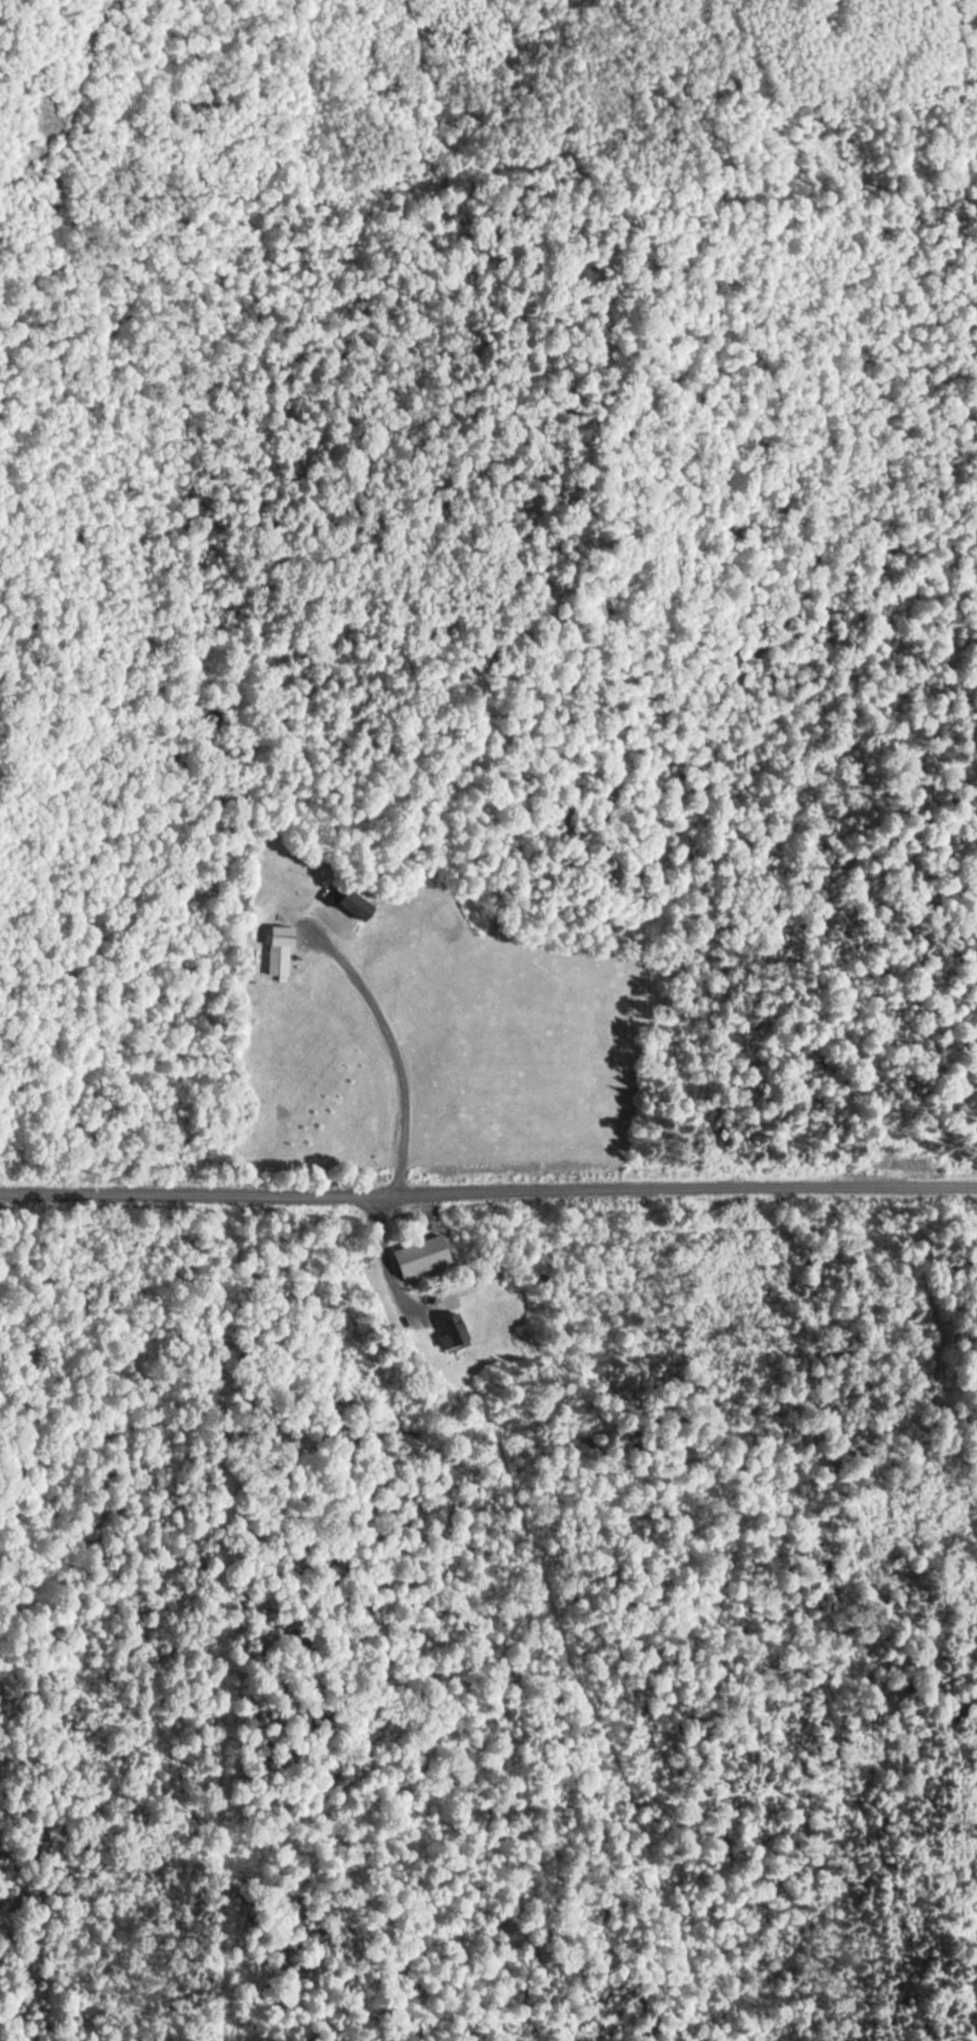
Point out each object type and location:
building: (342, 902)
building: (272, 951)
road: (488, 1185)
building: (443, 1329)

